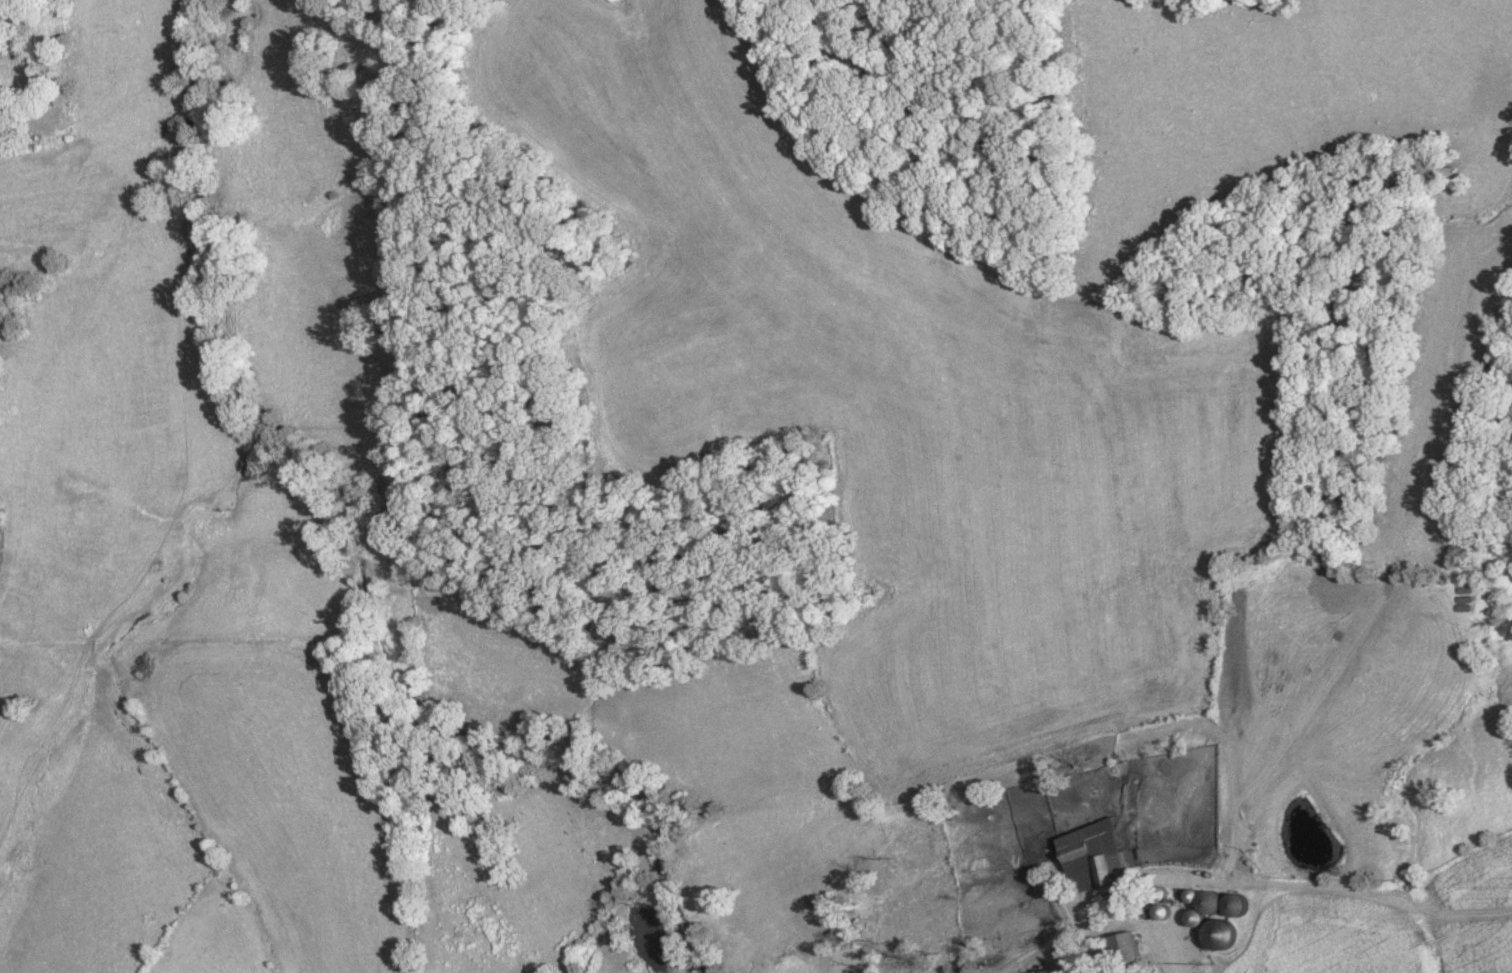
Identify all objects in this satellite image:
building: (1098, 852)
building: (1196, 915)
road: (1070, 923)
road: (1129, 923)
road: (1076, 936)
building: (1128, 948)
building: (1047, 971)

